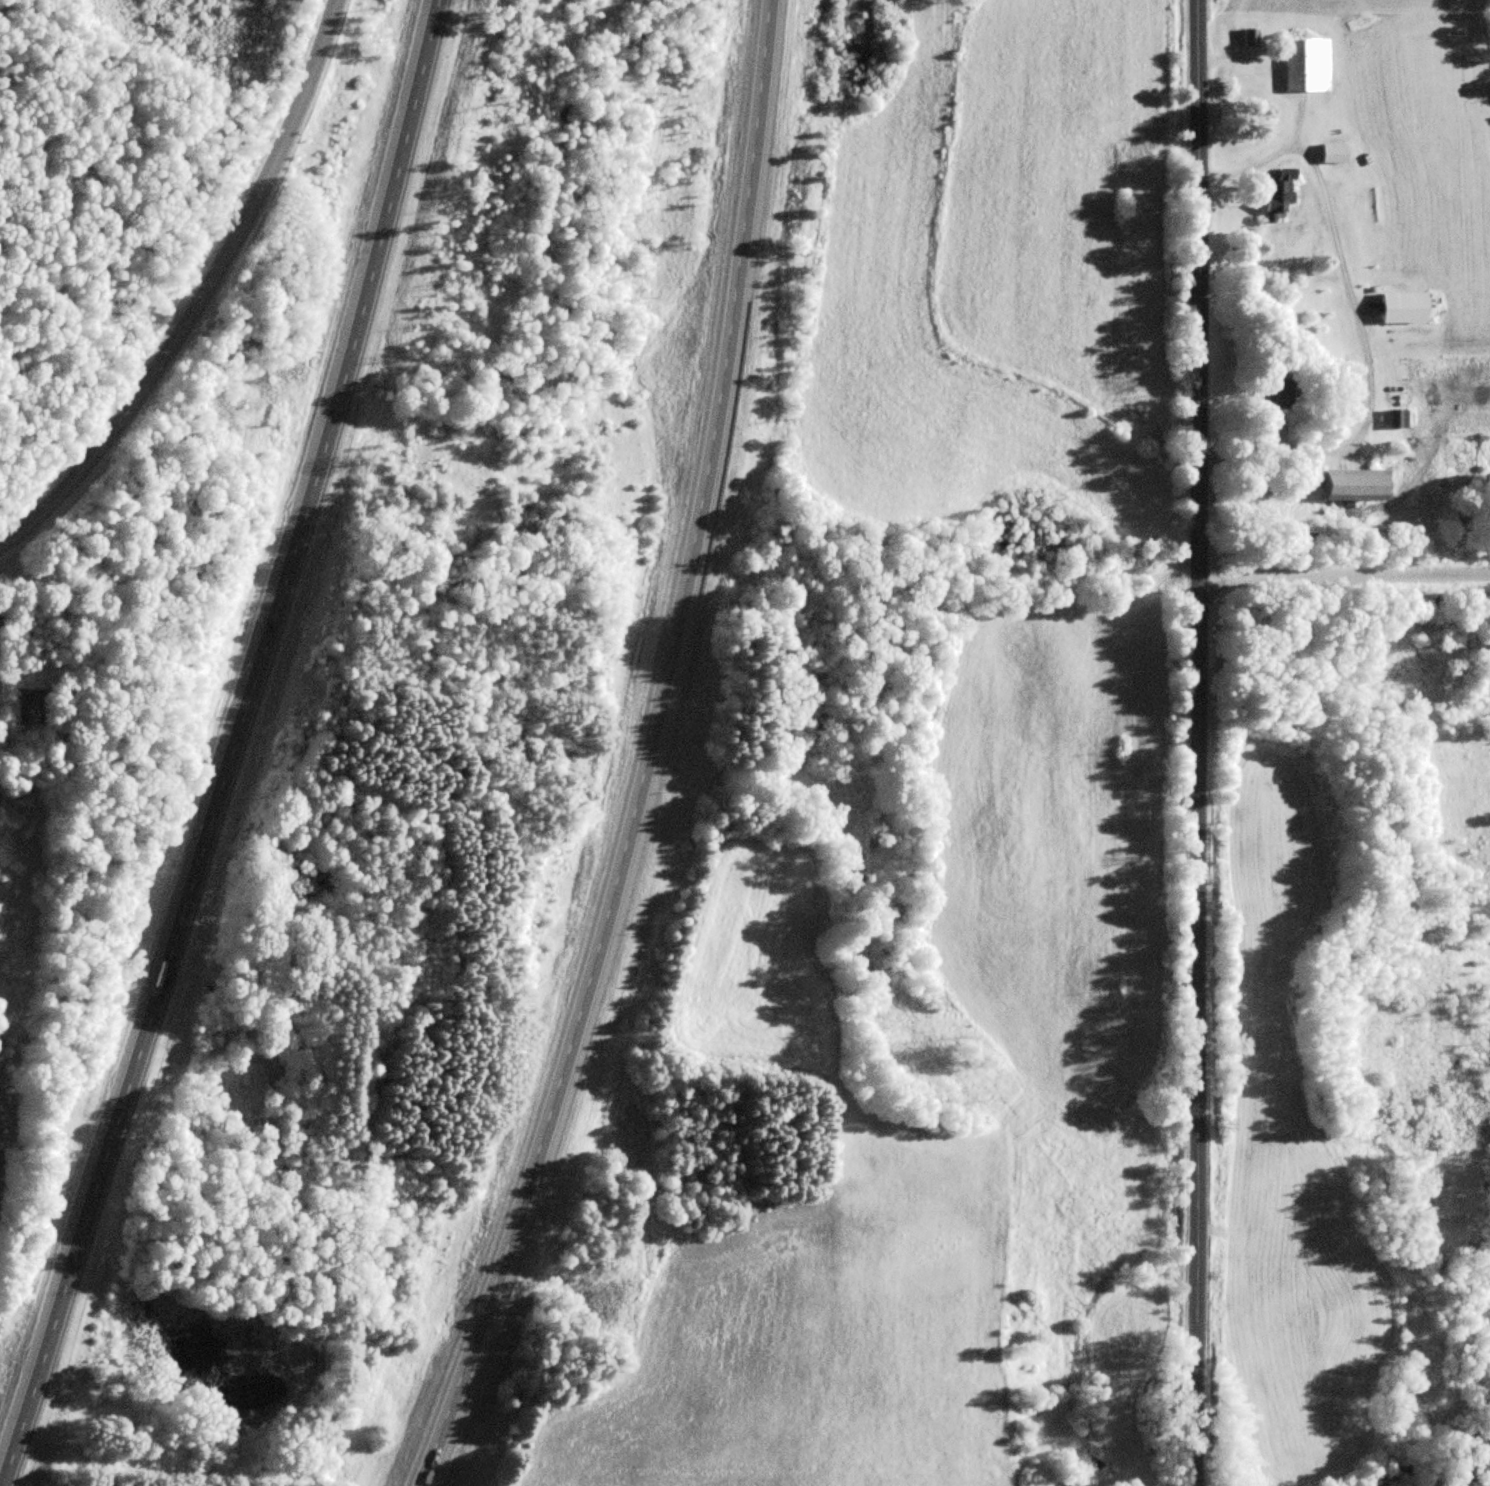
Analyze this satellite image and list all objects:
building: (1252, 37)
building: (1309, 65)
building: (1336, 153)
building: (1281, 196)
road: (203, 297)
building: (1406, 308)
building: (1280, 392)
building: (1400, 418)
building: (1358, 485)
road: (1345, 574)
building: (40, 707)
road: (1200, 742)
road: (231, 744)
road: (647, 756)

